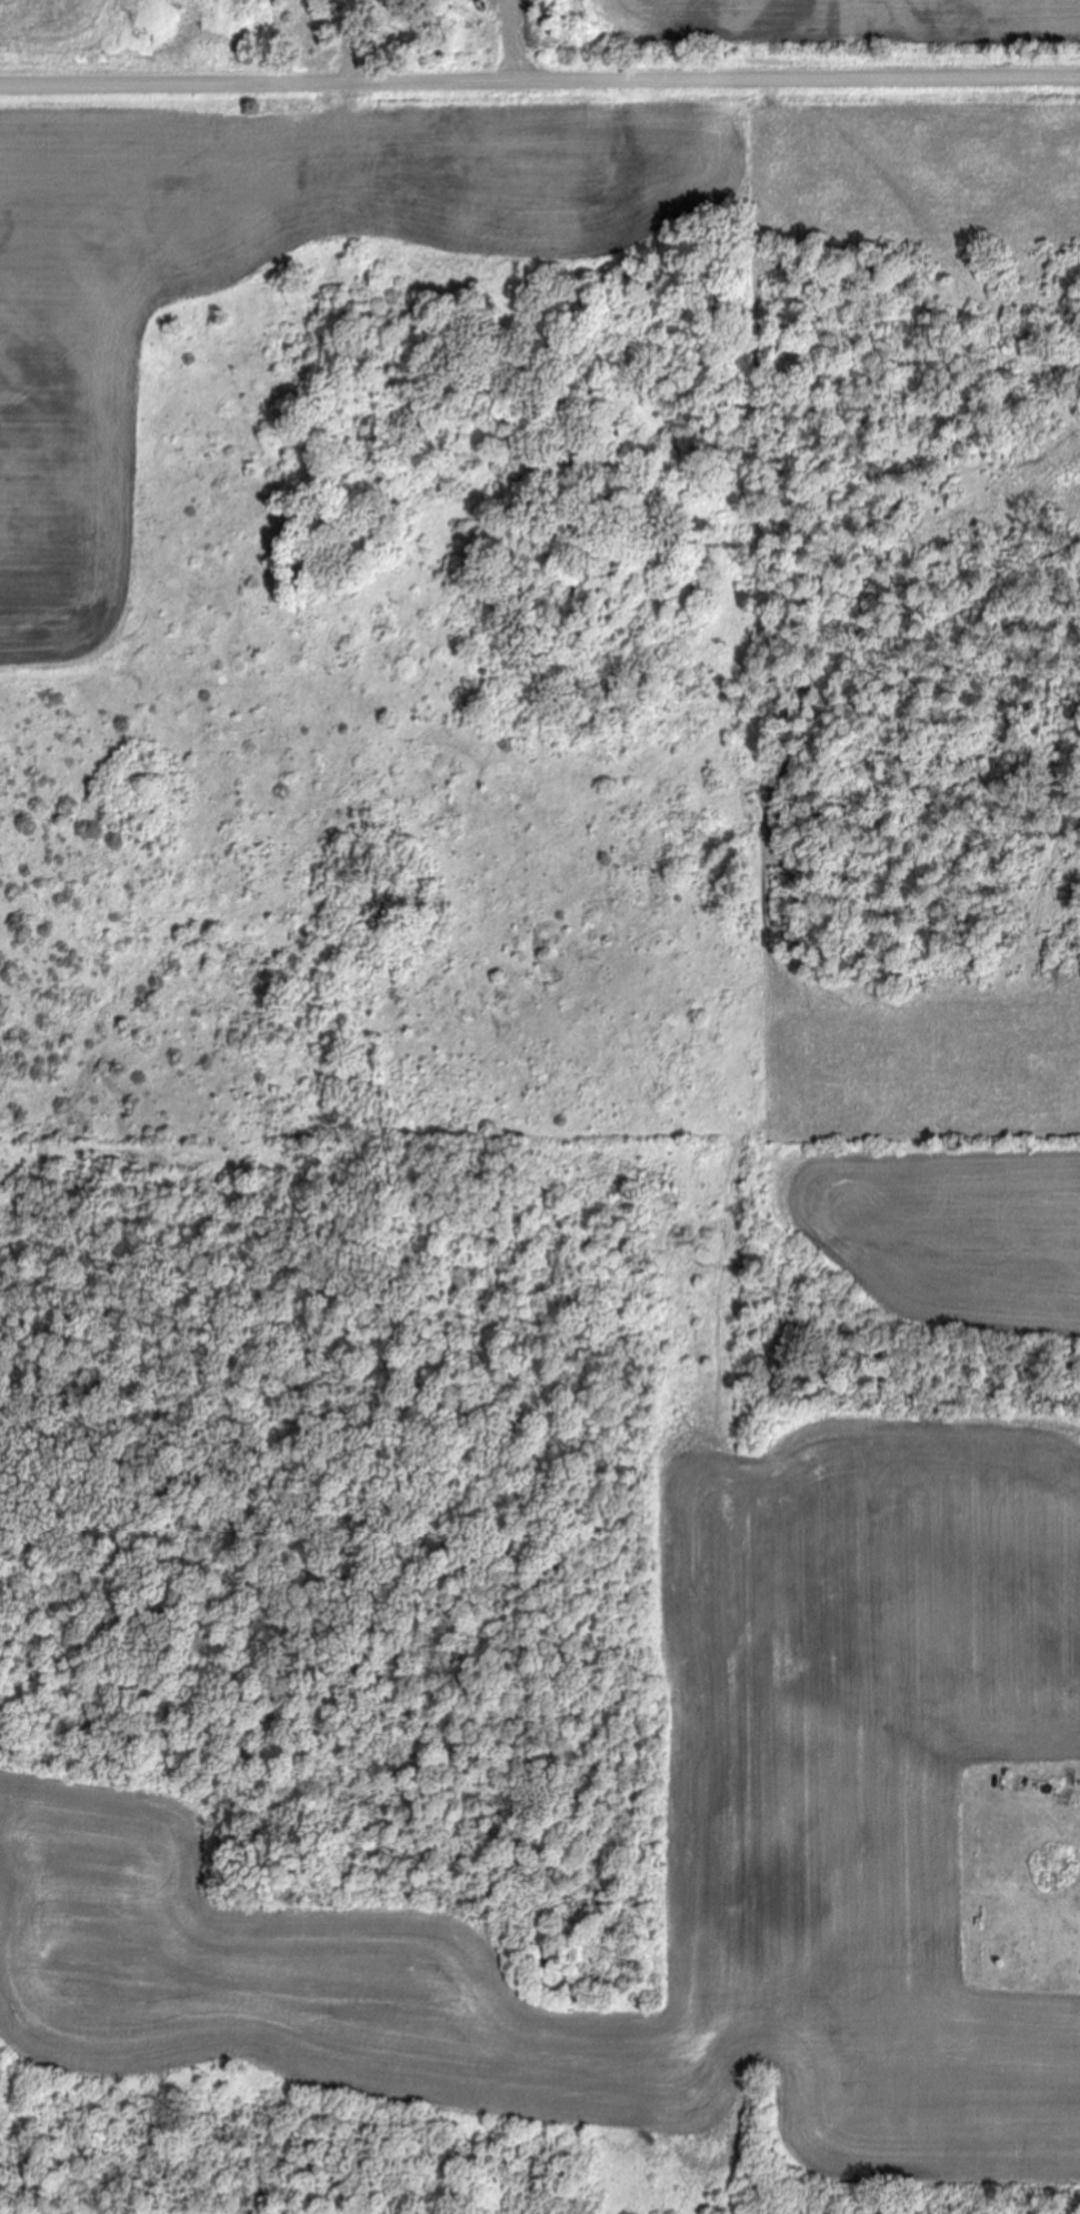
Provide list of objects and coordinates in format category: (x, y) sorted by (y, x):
building: (547, 34)
road: (540, 79)

